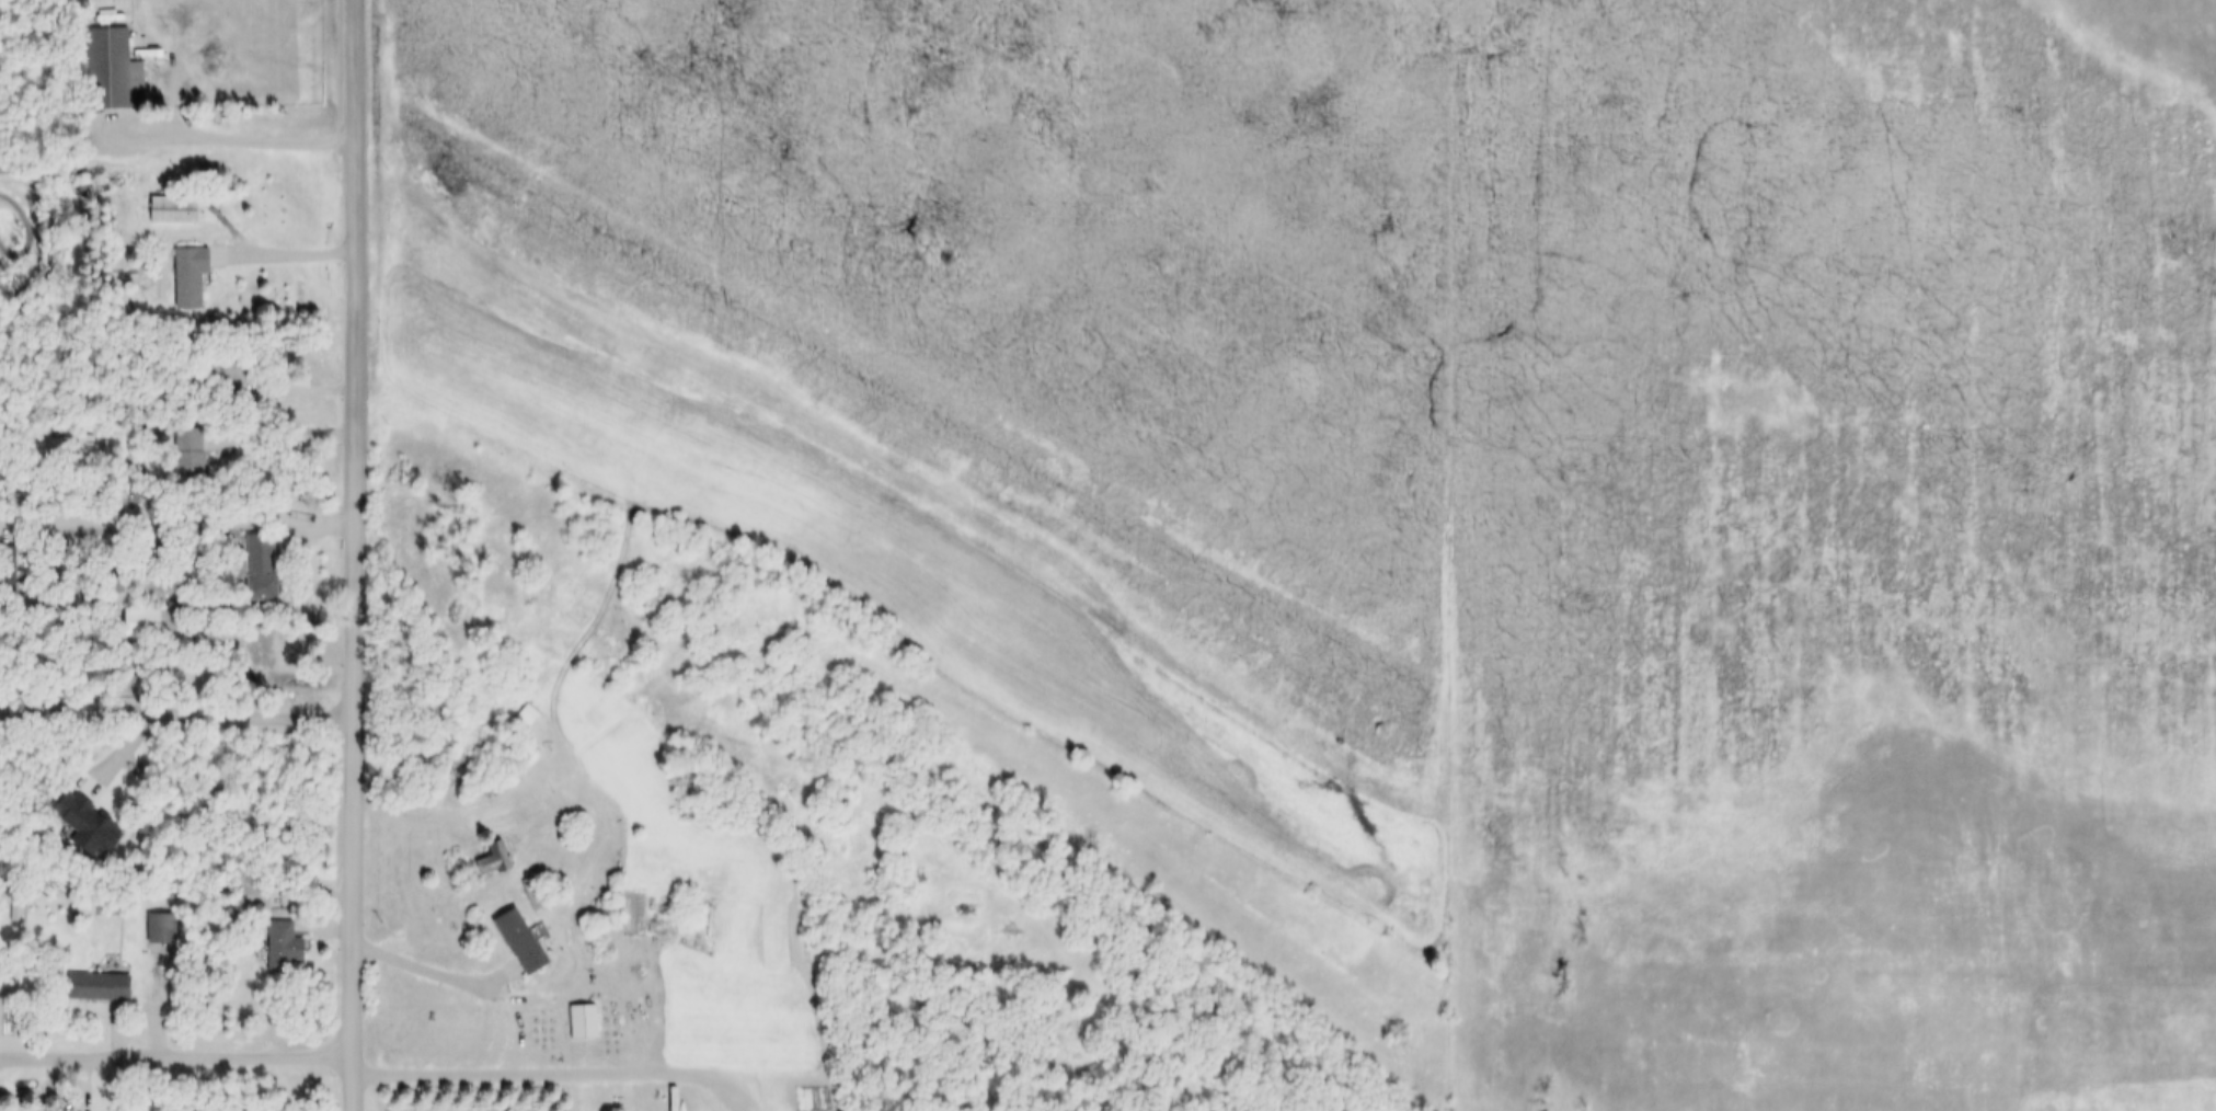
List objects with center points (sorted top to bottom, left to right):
building: (113, 71)
road: (249, 138)
building: (173, 211)
building: (190, 277)
building: (229, 373)
building: (122, 444)
building: (188, 461)
road: (180, 519)
building: (188, 550)
road: (359, 554)
building: (102, 565)
building: (117, 568)
building: (260, 569)
building: (141, 623)
building: (256, 662)
building: (131, 678)
road: (179, 711)
building: (93, 833)
building: (494, 860)
building: (254, 896)
building: (162, 935)
building: (520, 942)
building: (283, 948)
road: (438, 971)
building: (99, 987)
building: (583, 1023)
road: (179, 1056)

